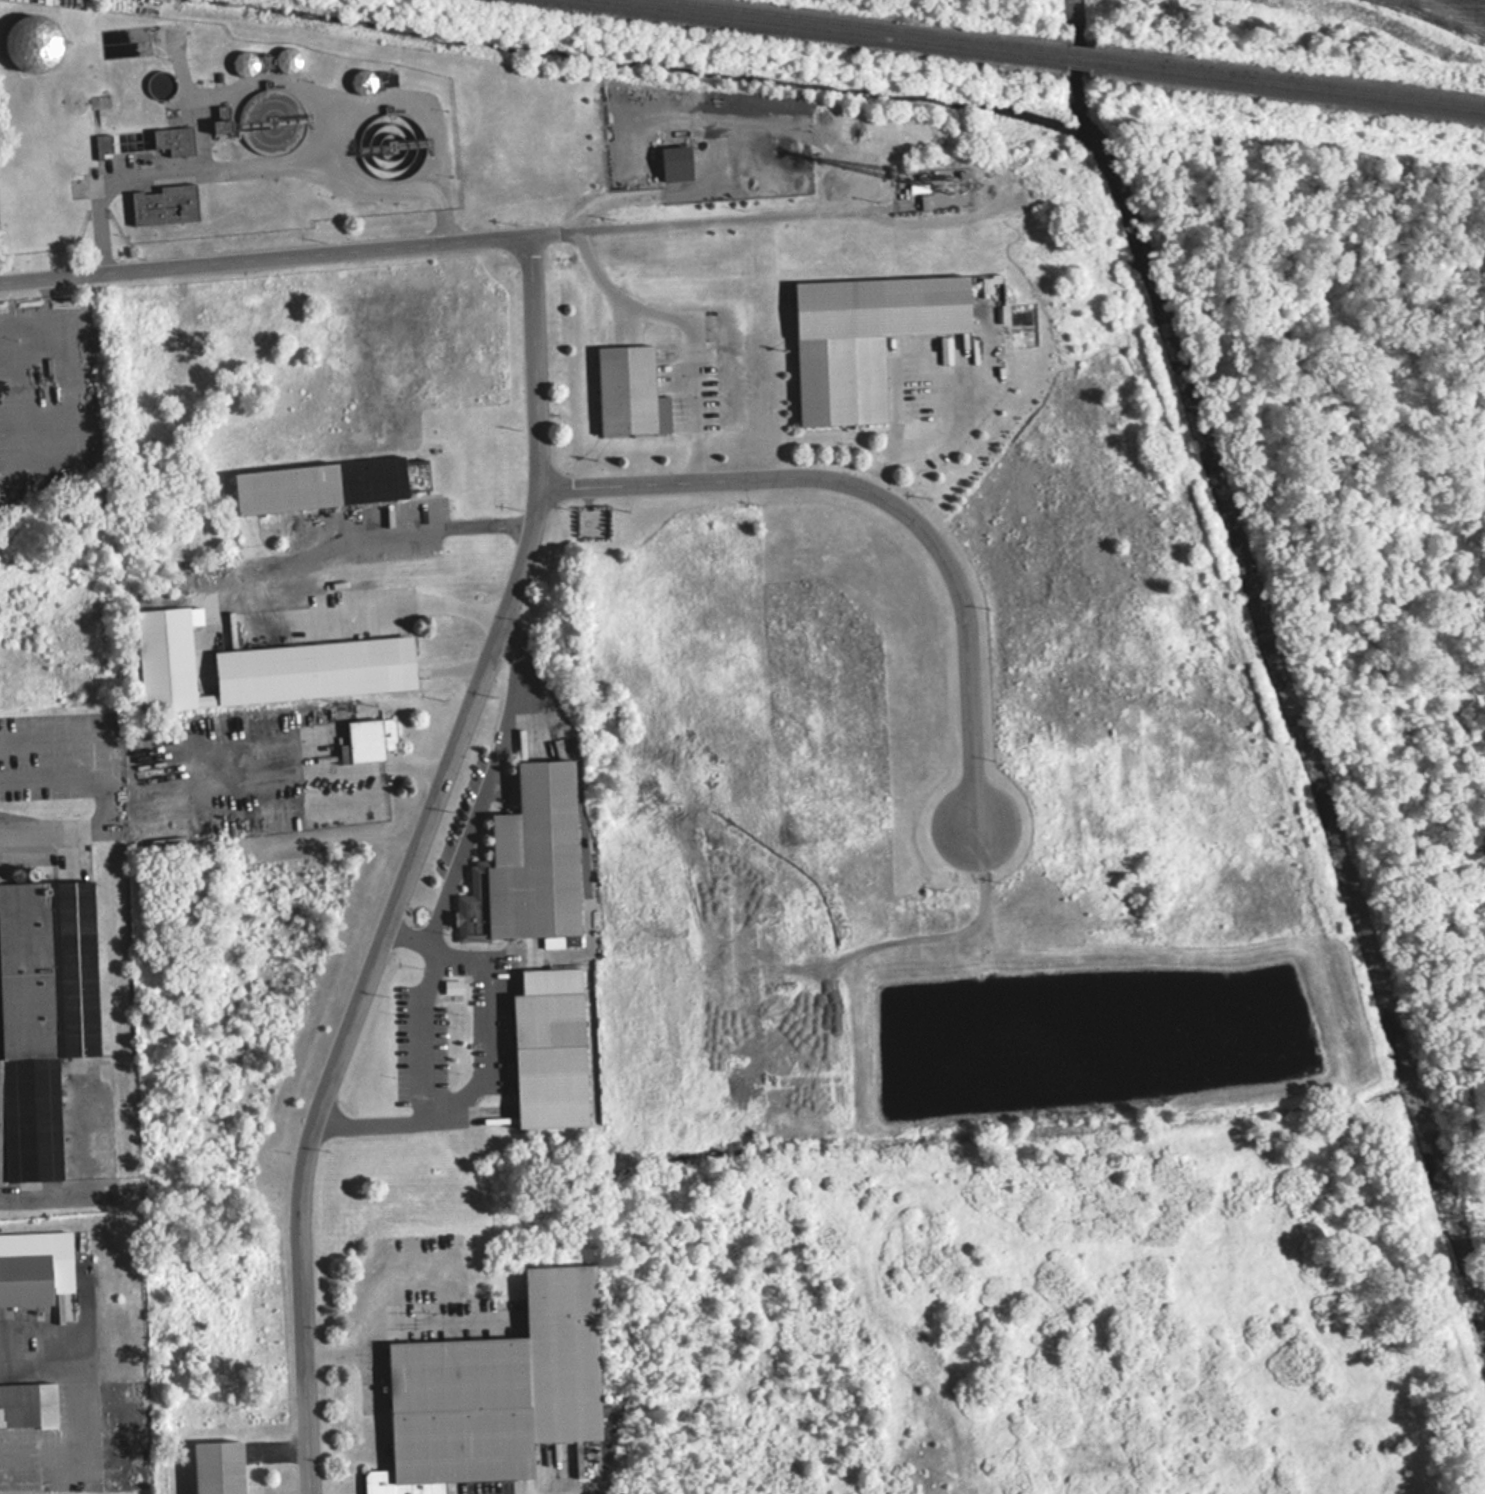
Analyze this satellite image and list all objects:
railway: (874, 24)
railway: (835, 29)
building: (31, 42)
railway: (1080, 50)
railway: (1079, 59)
building: (287, 60)
building: (245, 63)
railway: (1289, 76)
building: (363, 80)
railway: (1289, 86)
building: (267, 136)
building: (175, 140)
building: (103, 144)
building: (381, 154)
building: (677, 163)
road: (252, 168)
building: (918, 187)
road: (640, 189)
building: (165, 204)
road: (419, 243)
road: (684, 322)
building: (865, 339)
building: (630, 391)
road: (953, 407)
building: (329, 484)
road: (888, 500)
building: (592, 522)
road: (230, 574)
building: (264, 665)
building: (370, 739)
road: (319, 765)
road: (487, 786)
road: (29, 828)
road: (411, 862)
building: (529, 862)
building: (43, 1017)
road: (487, 1056)
building: (551, 1060)
road: (51, 1193)
building: (34, 1267)
road: (392, 1323)
road: (39, 1367)
building: (495, 1392)
building: (28, 1404)
building: (219, 1466)

